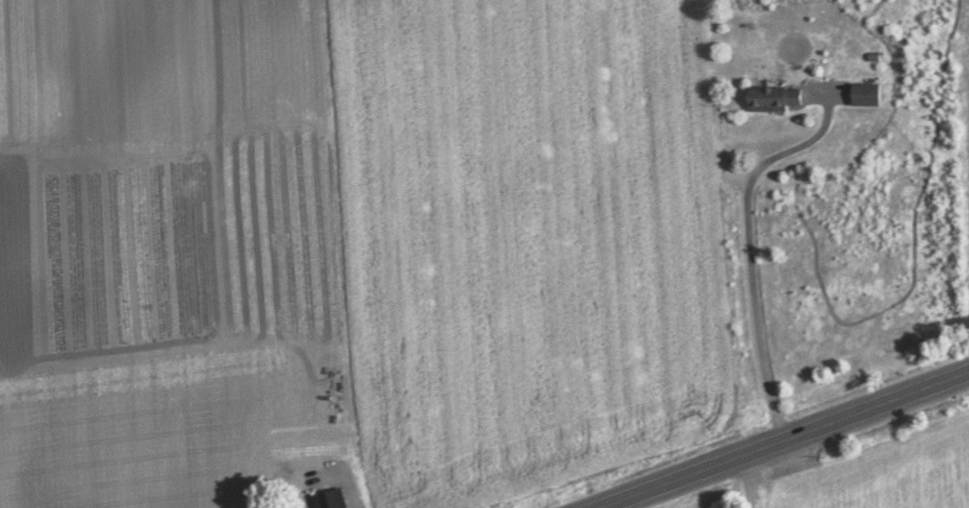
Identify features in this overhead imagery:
building: (866, 98)
building: (775, 102)
road: (762, 430)
road: (742, 472)

